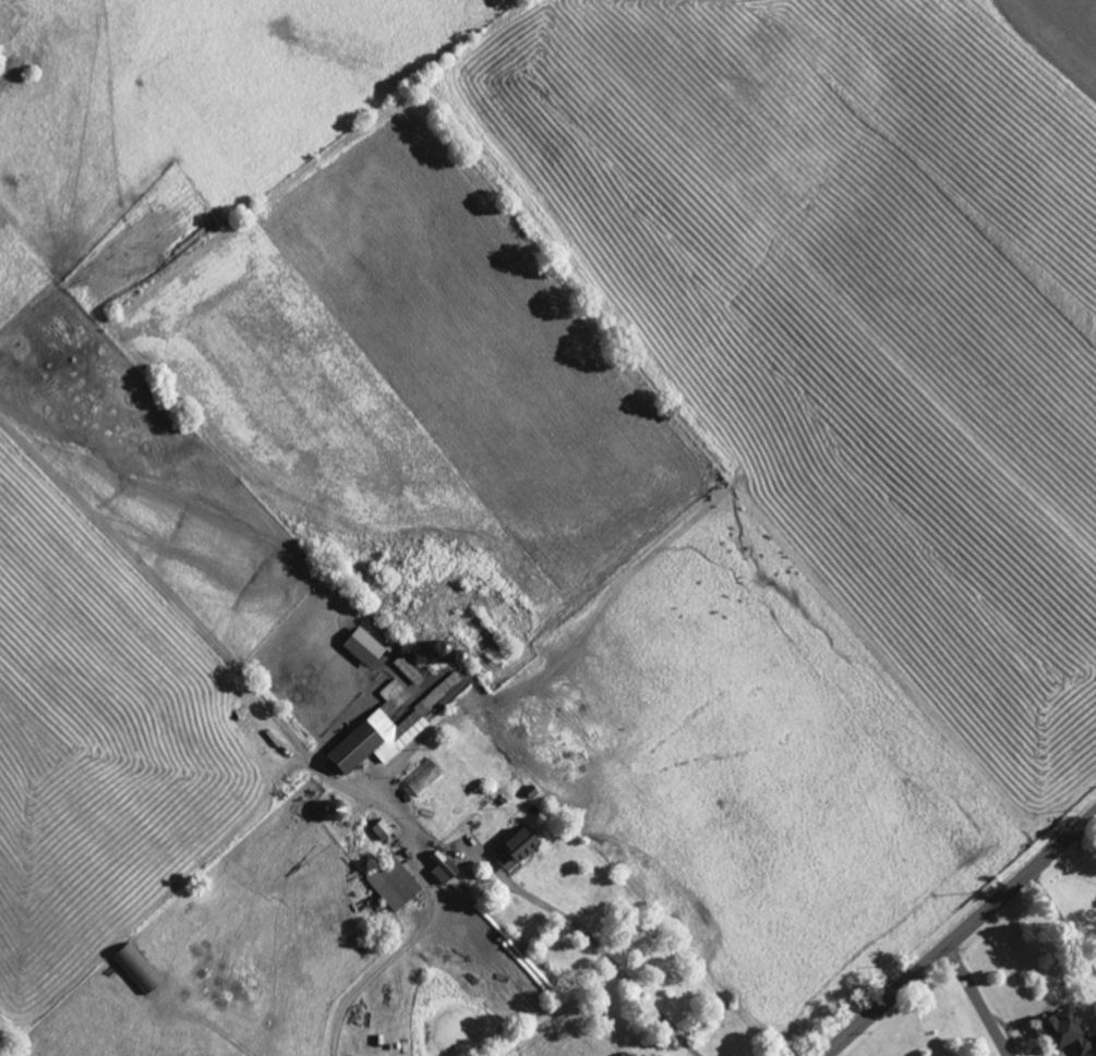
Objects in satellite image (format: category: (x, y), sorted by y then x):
building: (363, 645)
building: (457, 653)
building: (409, 669)
building: (390, 724)
building: (424, 777)
building: (383, 827)
building: (517, 846)
road: (469, 852)
building: (443, 865)
building: (395, 882)
road: (960, 933)
building: (137, 967)
road: (981, 998)
building: (1068, 1032)

